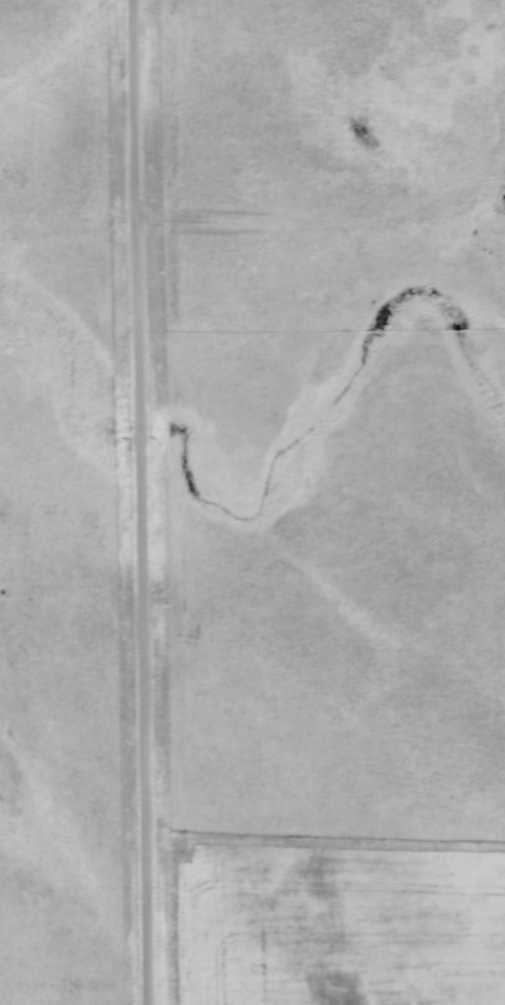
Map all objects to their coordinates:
road: (131, 502)
crop: (335, 923)

